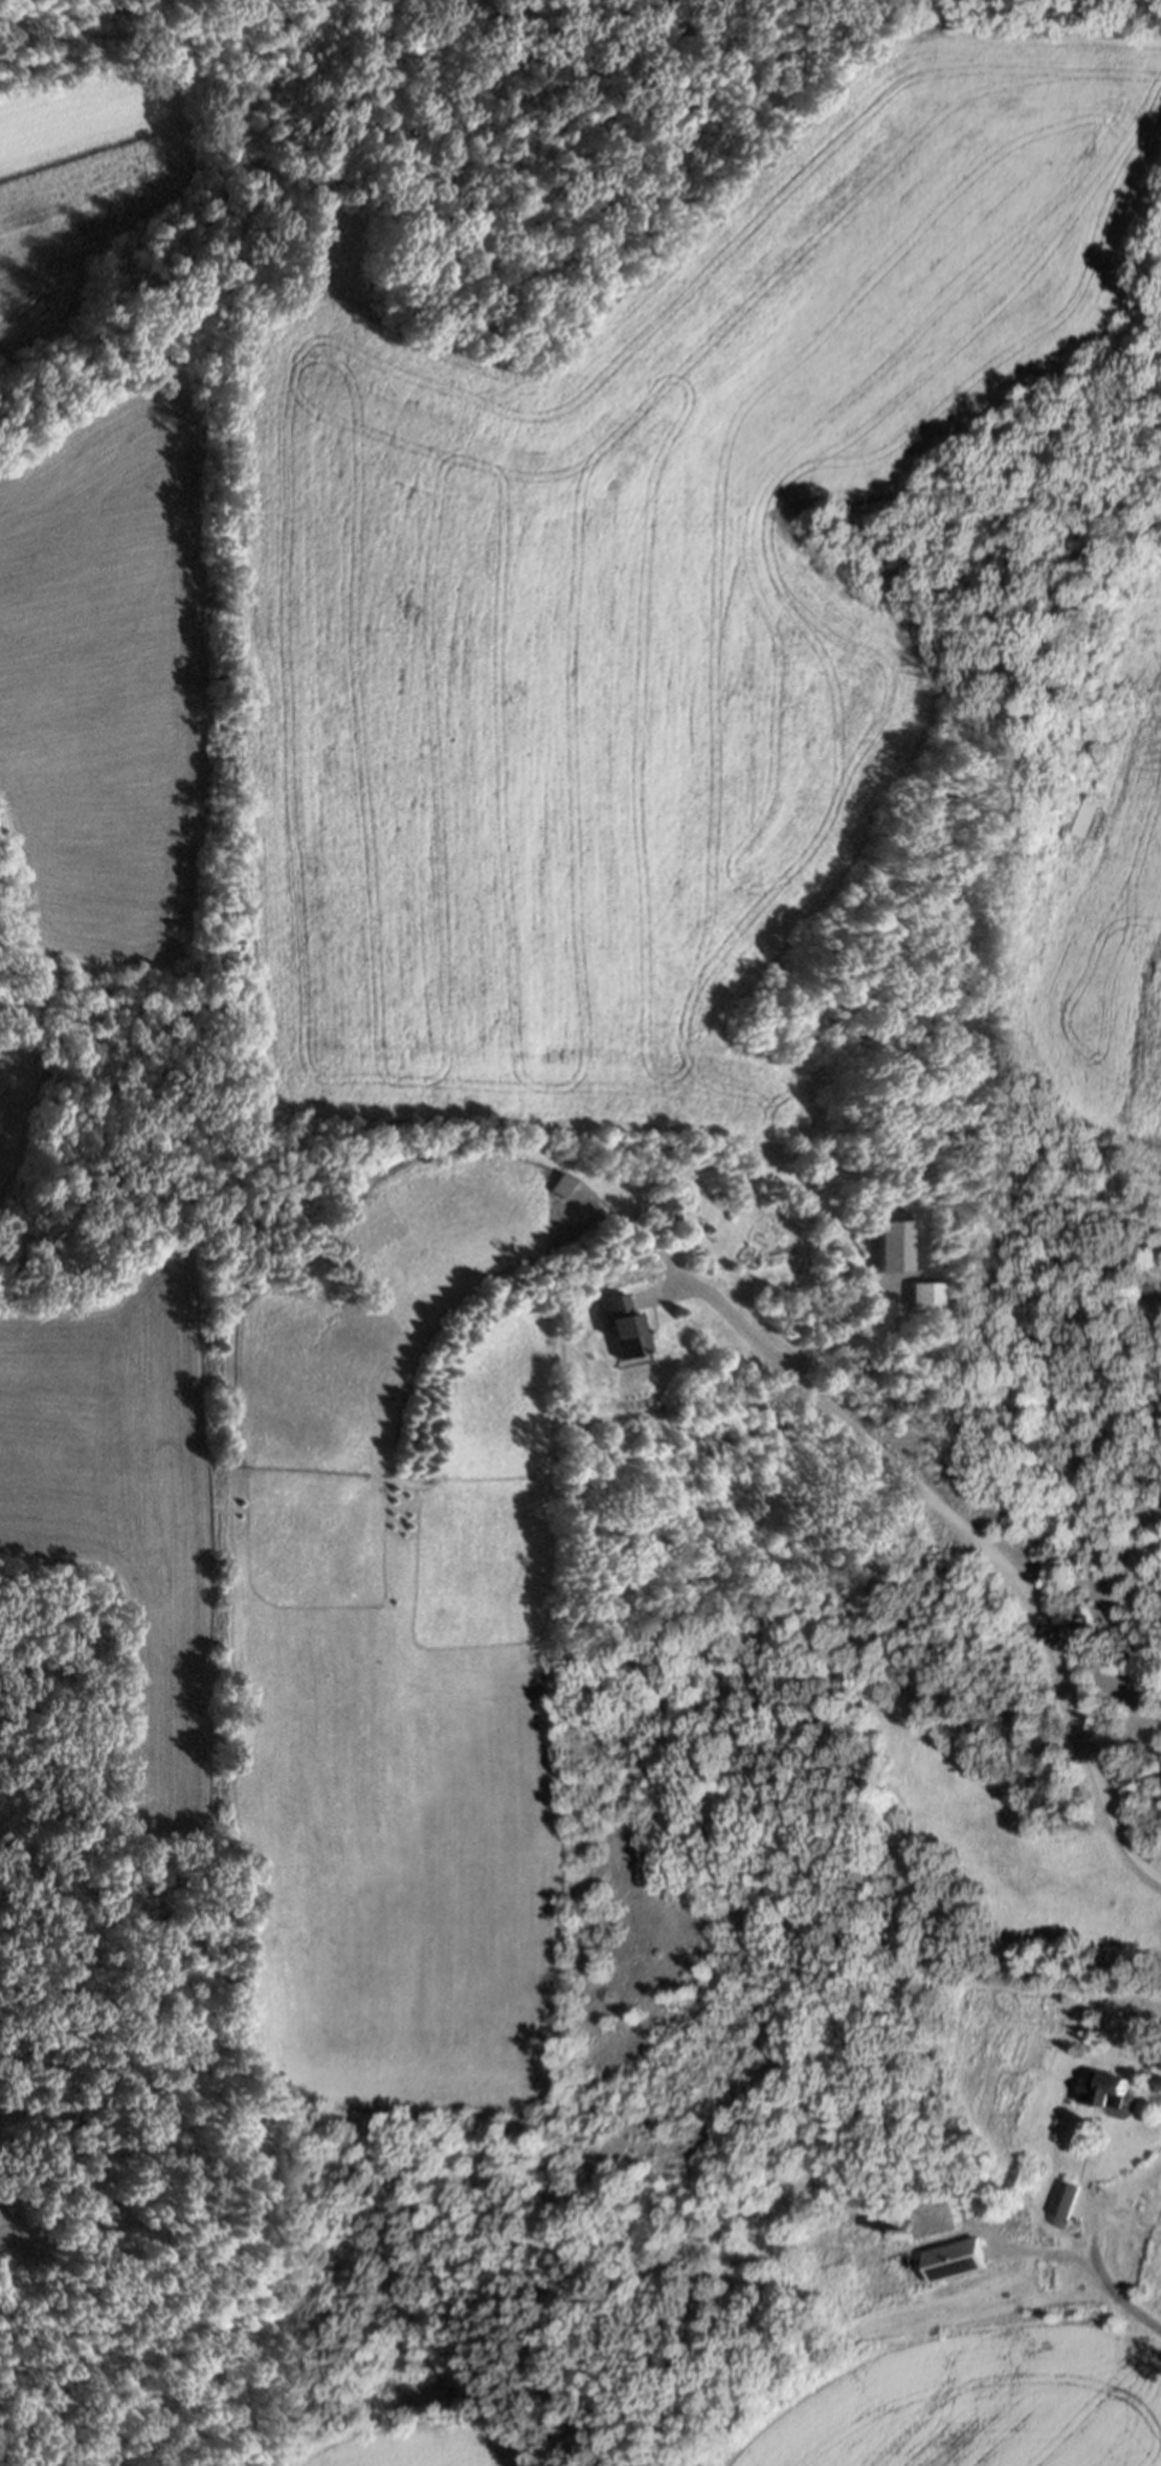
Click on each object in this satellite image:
building: (1082, 816)
building: (559, 1182)
building: (867, 1225)
building: (896, 1261)
building: (915, 1293)
building: (621, 1324)
road: (973, 1535)
building: (1156, 2082)
building: (1103, 2089)
building: (1065, 2199)
road: (1107, 2283)

